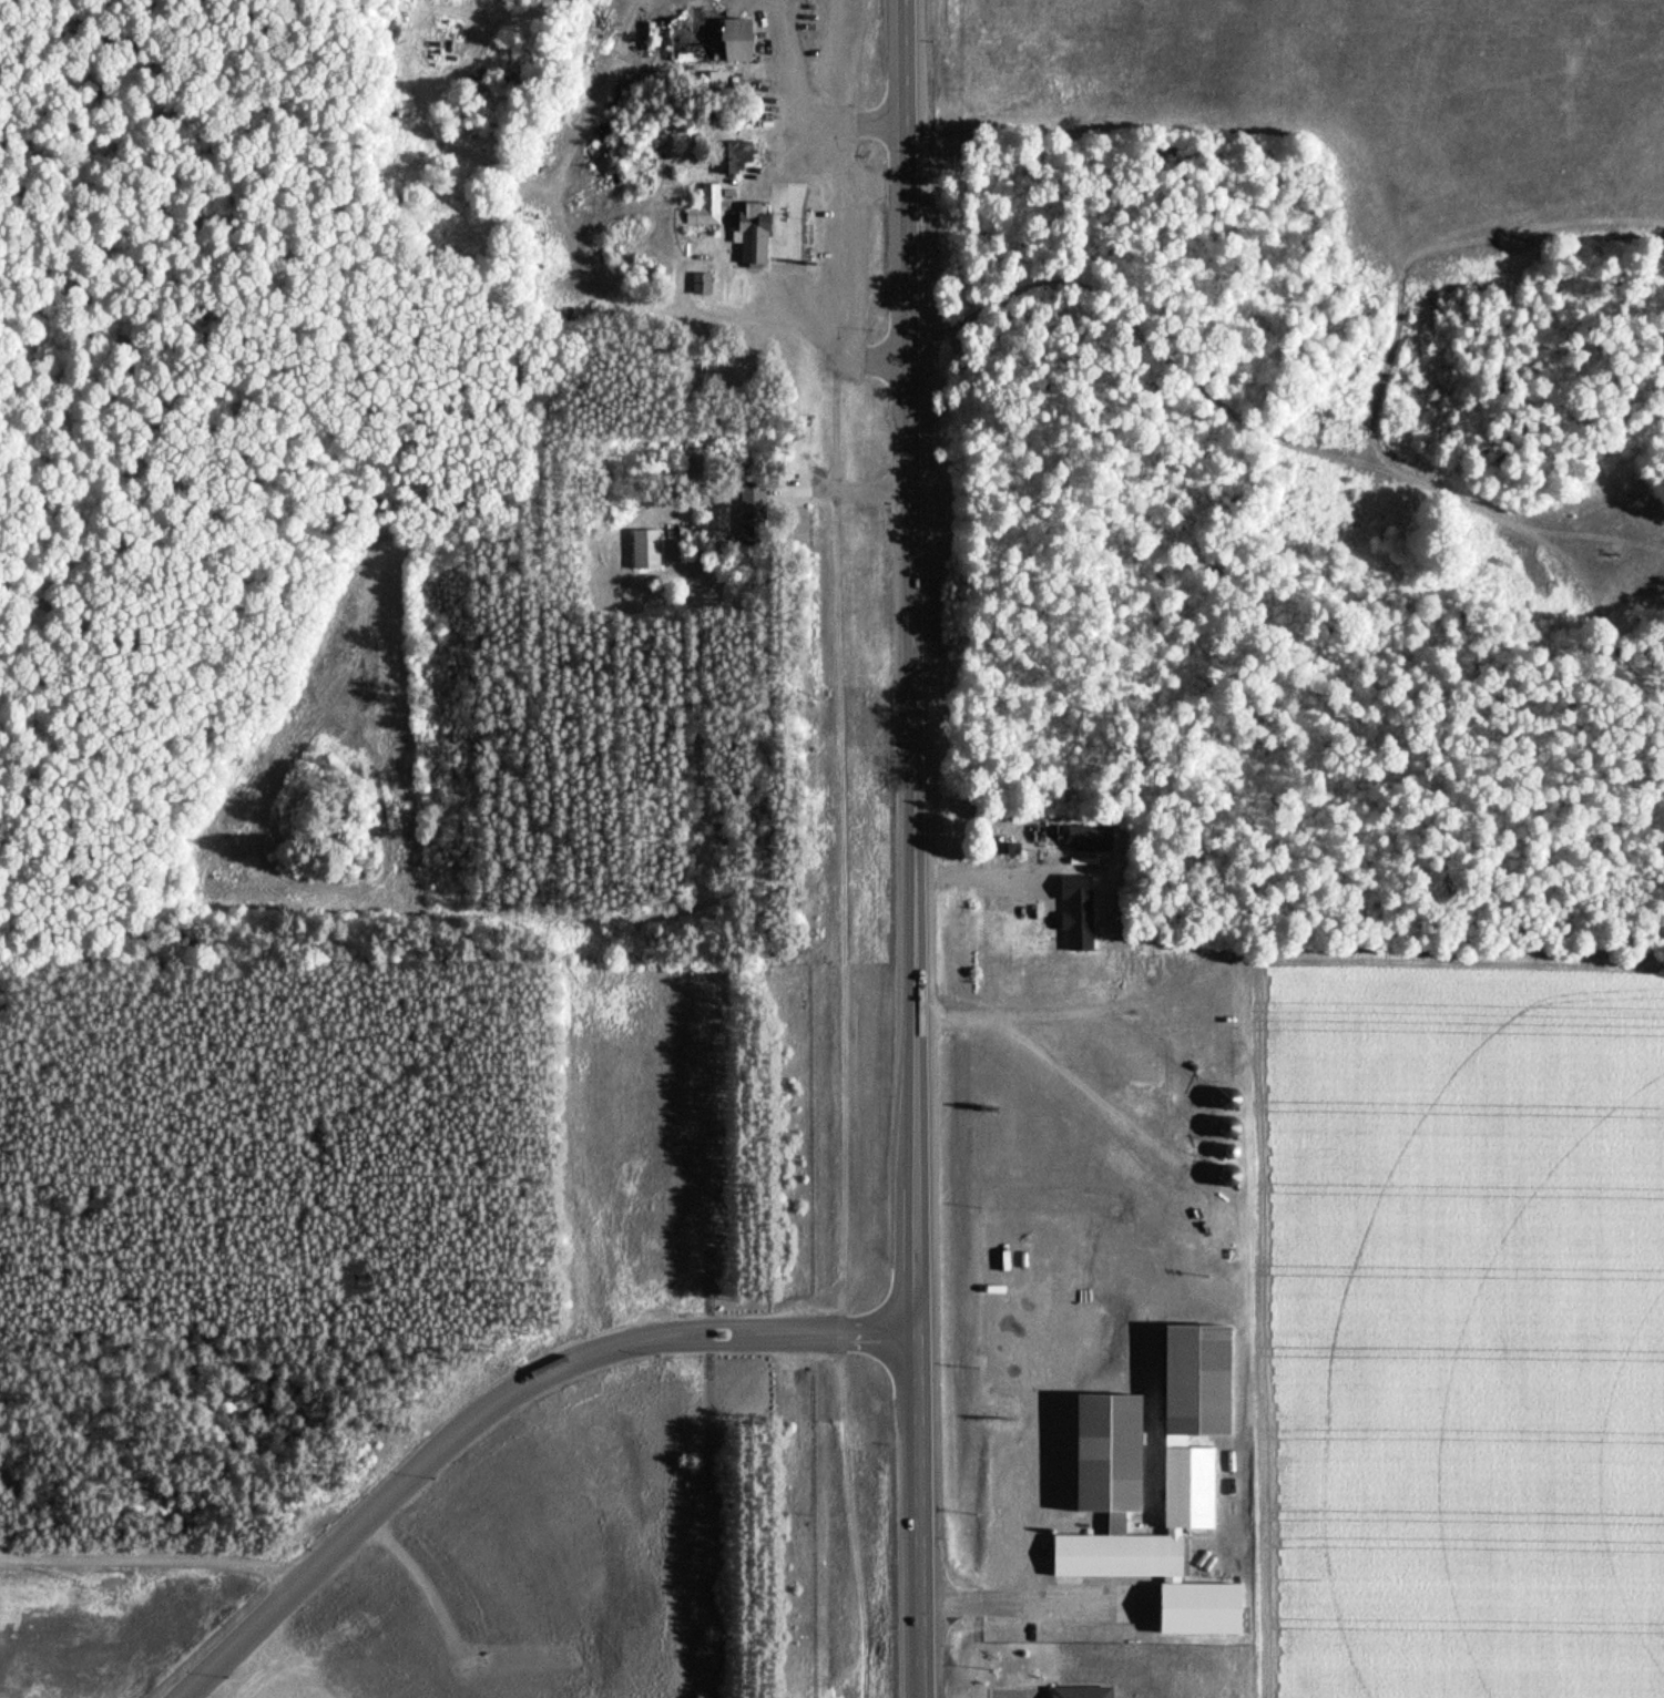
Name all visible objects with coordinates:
building: (707, 37)
building: (715, 79)
road: (877, 116)
road: (806, 130)
building: (725, 155)
building: (702, 202)
road: (784, 219)
building: (748, 227)
building: (698, 279)
road: (816, 308)
road: (880, 357)
road: (1338, 454)
road: (785, 484)
road: (856, 485)
building: (751, 510)
road: (826, 529)
building: (643, 546)
petroleum well: (1607, 551)
building: (1020, 833)
building: (1086, 835)
road: (910, 849)
road: (981, 871)
road: (1066, 1073)
building: (1226, 1096)
road: (731, 1323)
road: (899, 1331)
road: (733, 1341)
road: (1032, 1418)
building: (1109, 1475)
road: (372, 1513)
road: (153, 1556)
road: (1035, 1602)
building: (1074, 1678)
building: (1078, 1690)
road: (1017, 1695)

